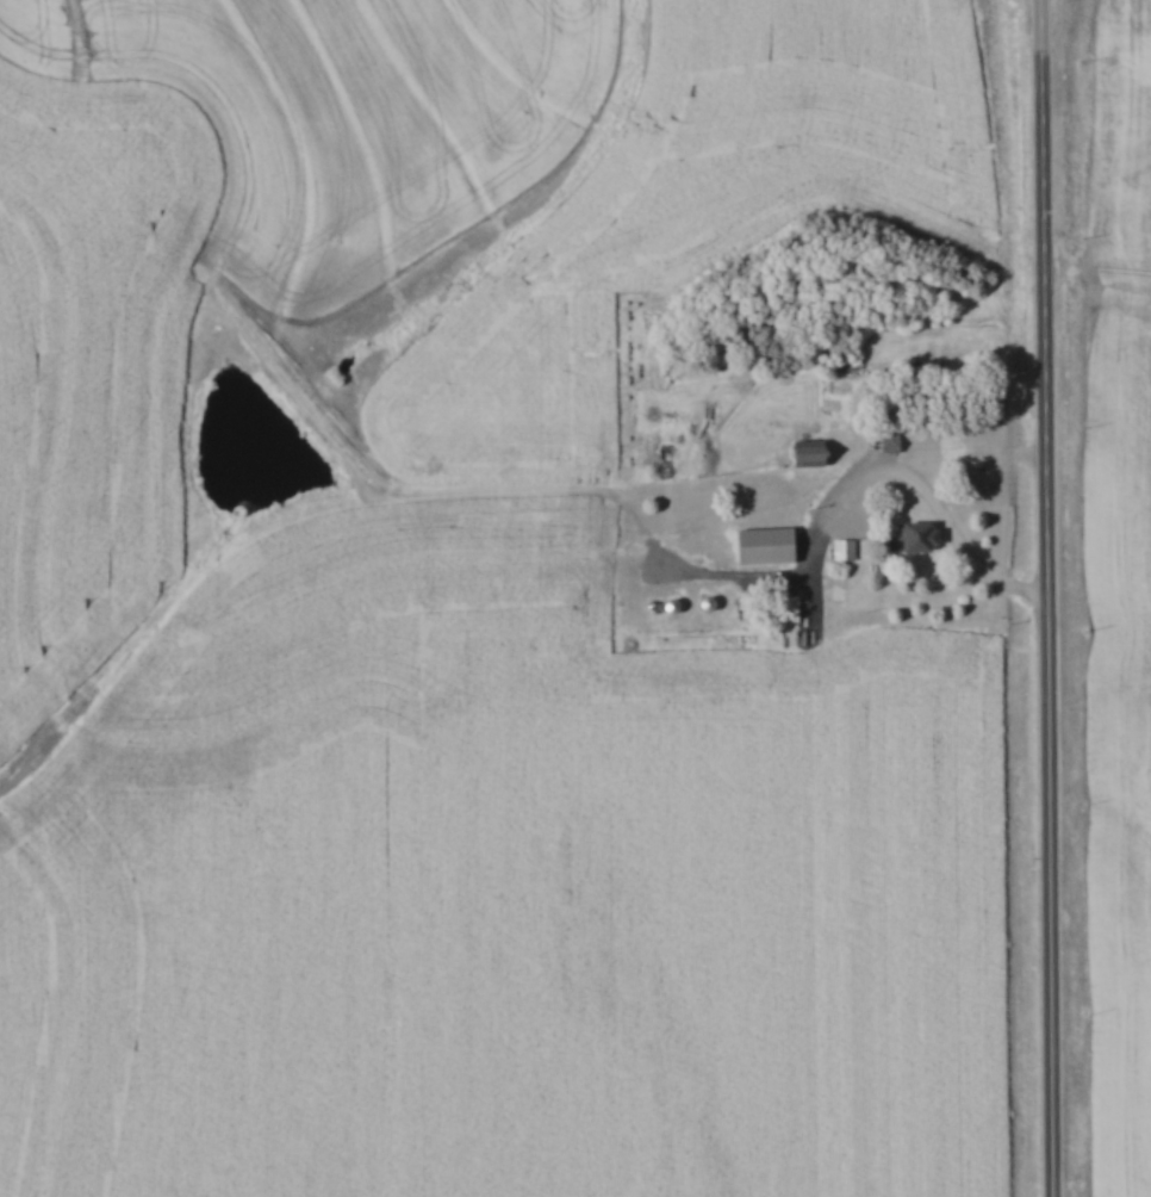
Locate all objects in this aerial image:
building: (803, 453)
road: (947, 520)
building: (914, 538)
building: (761, 547)
building: (842, 550)
road: (1045, 598)
building: (789, 609)

